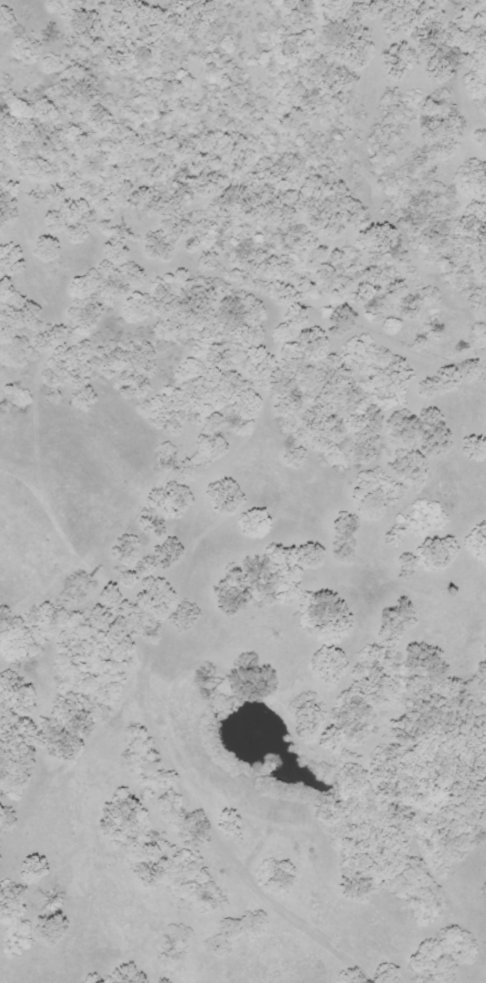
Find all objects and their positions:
road: (213, 589)
road: (42, 757)

